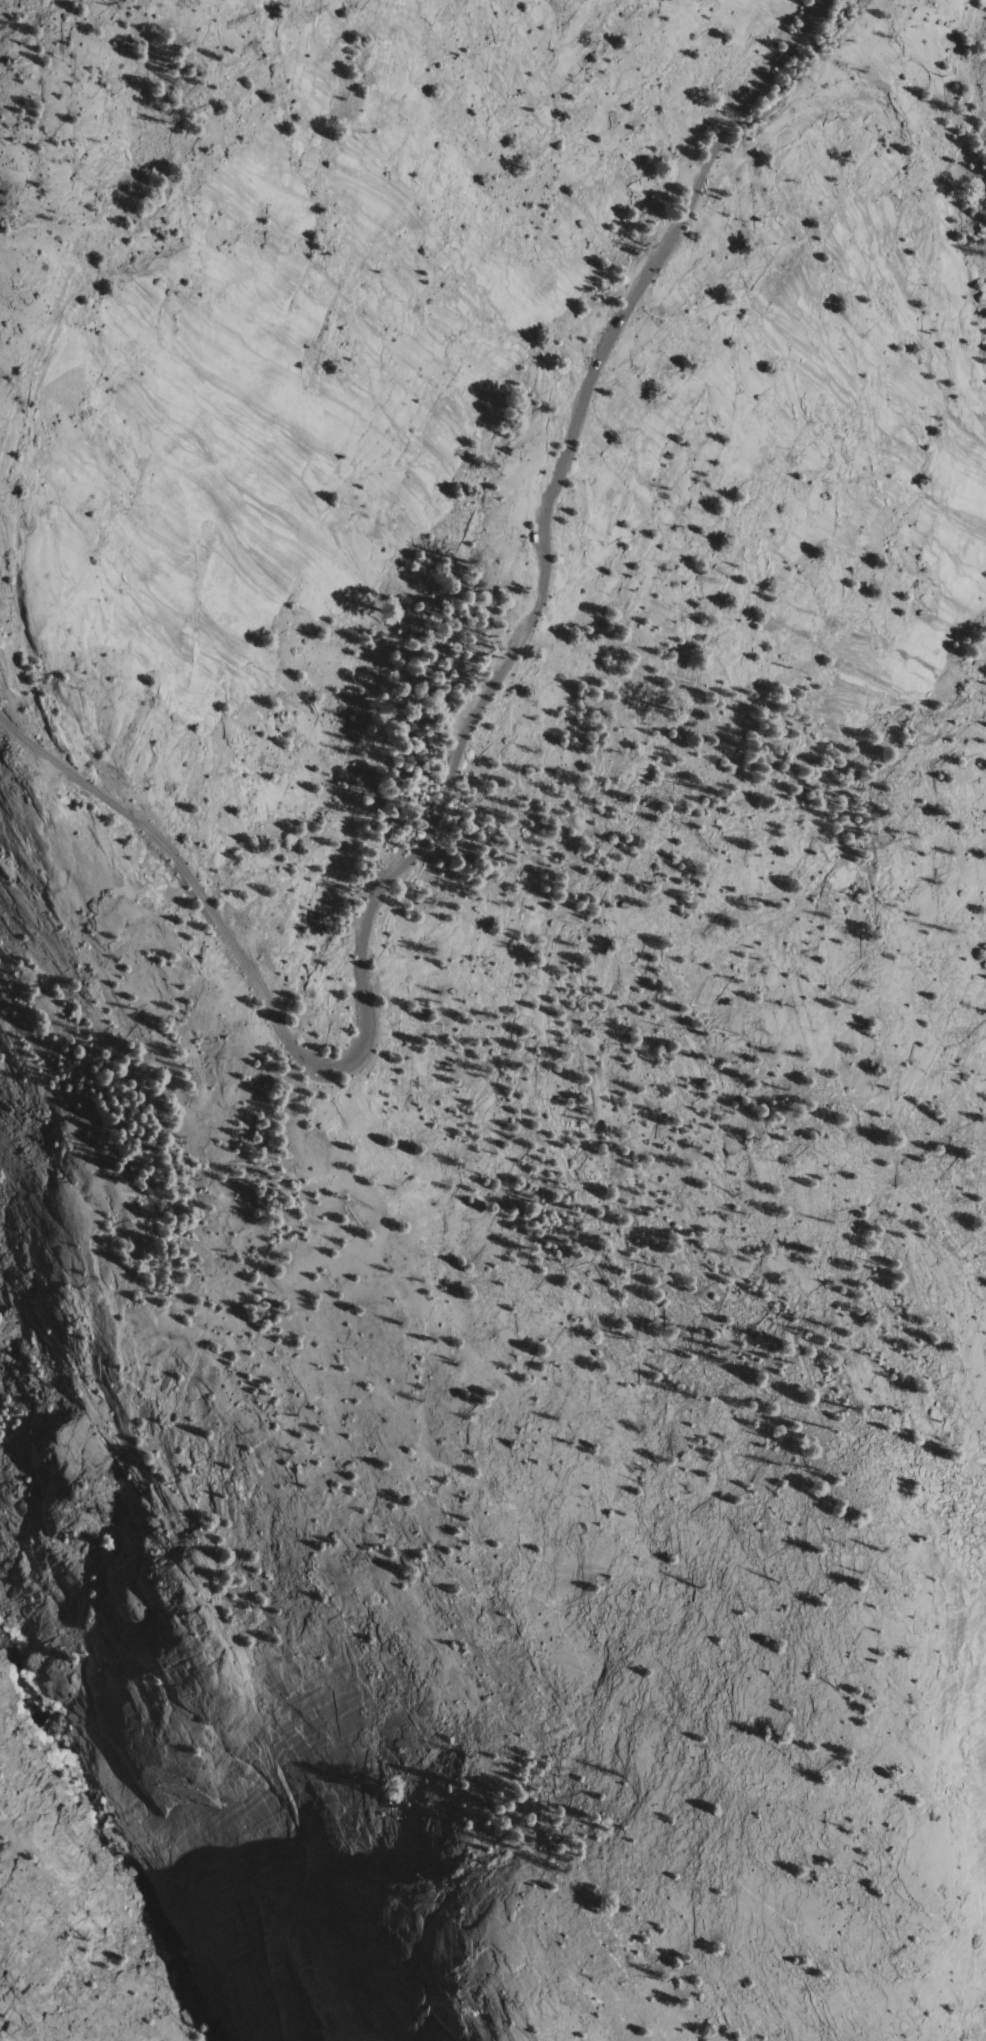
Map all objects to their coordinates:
road: (464, 740)

